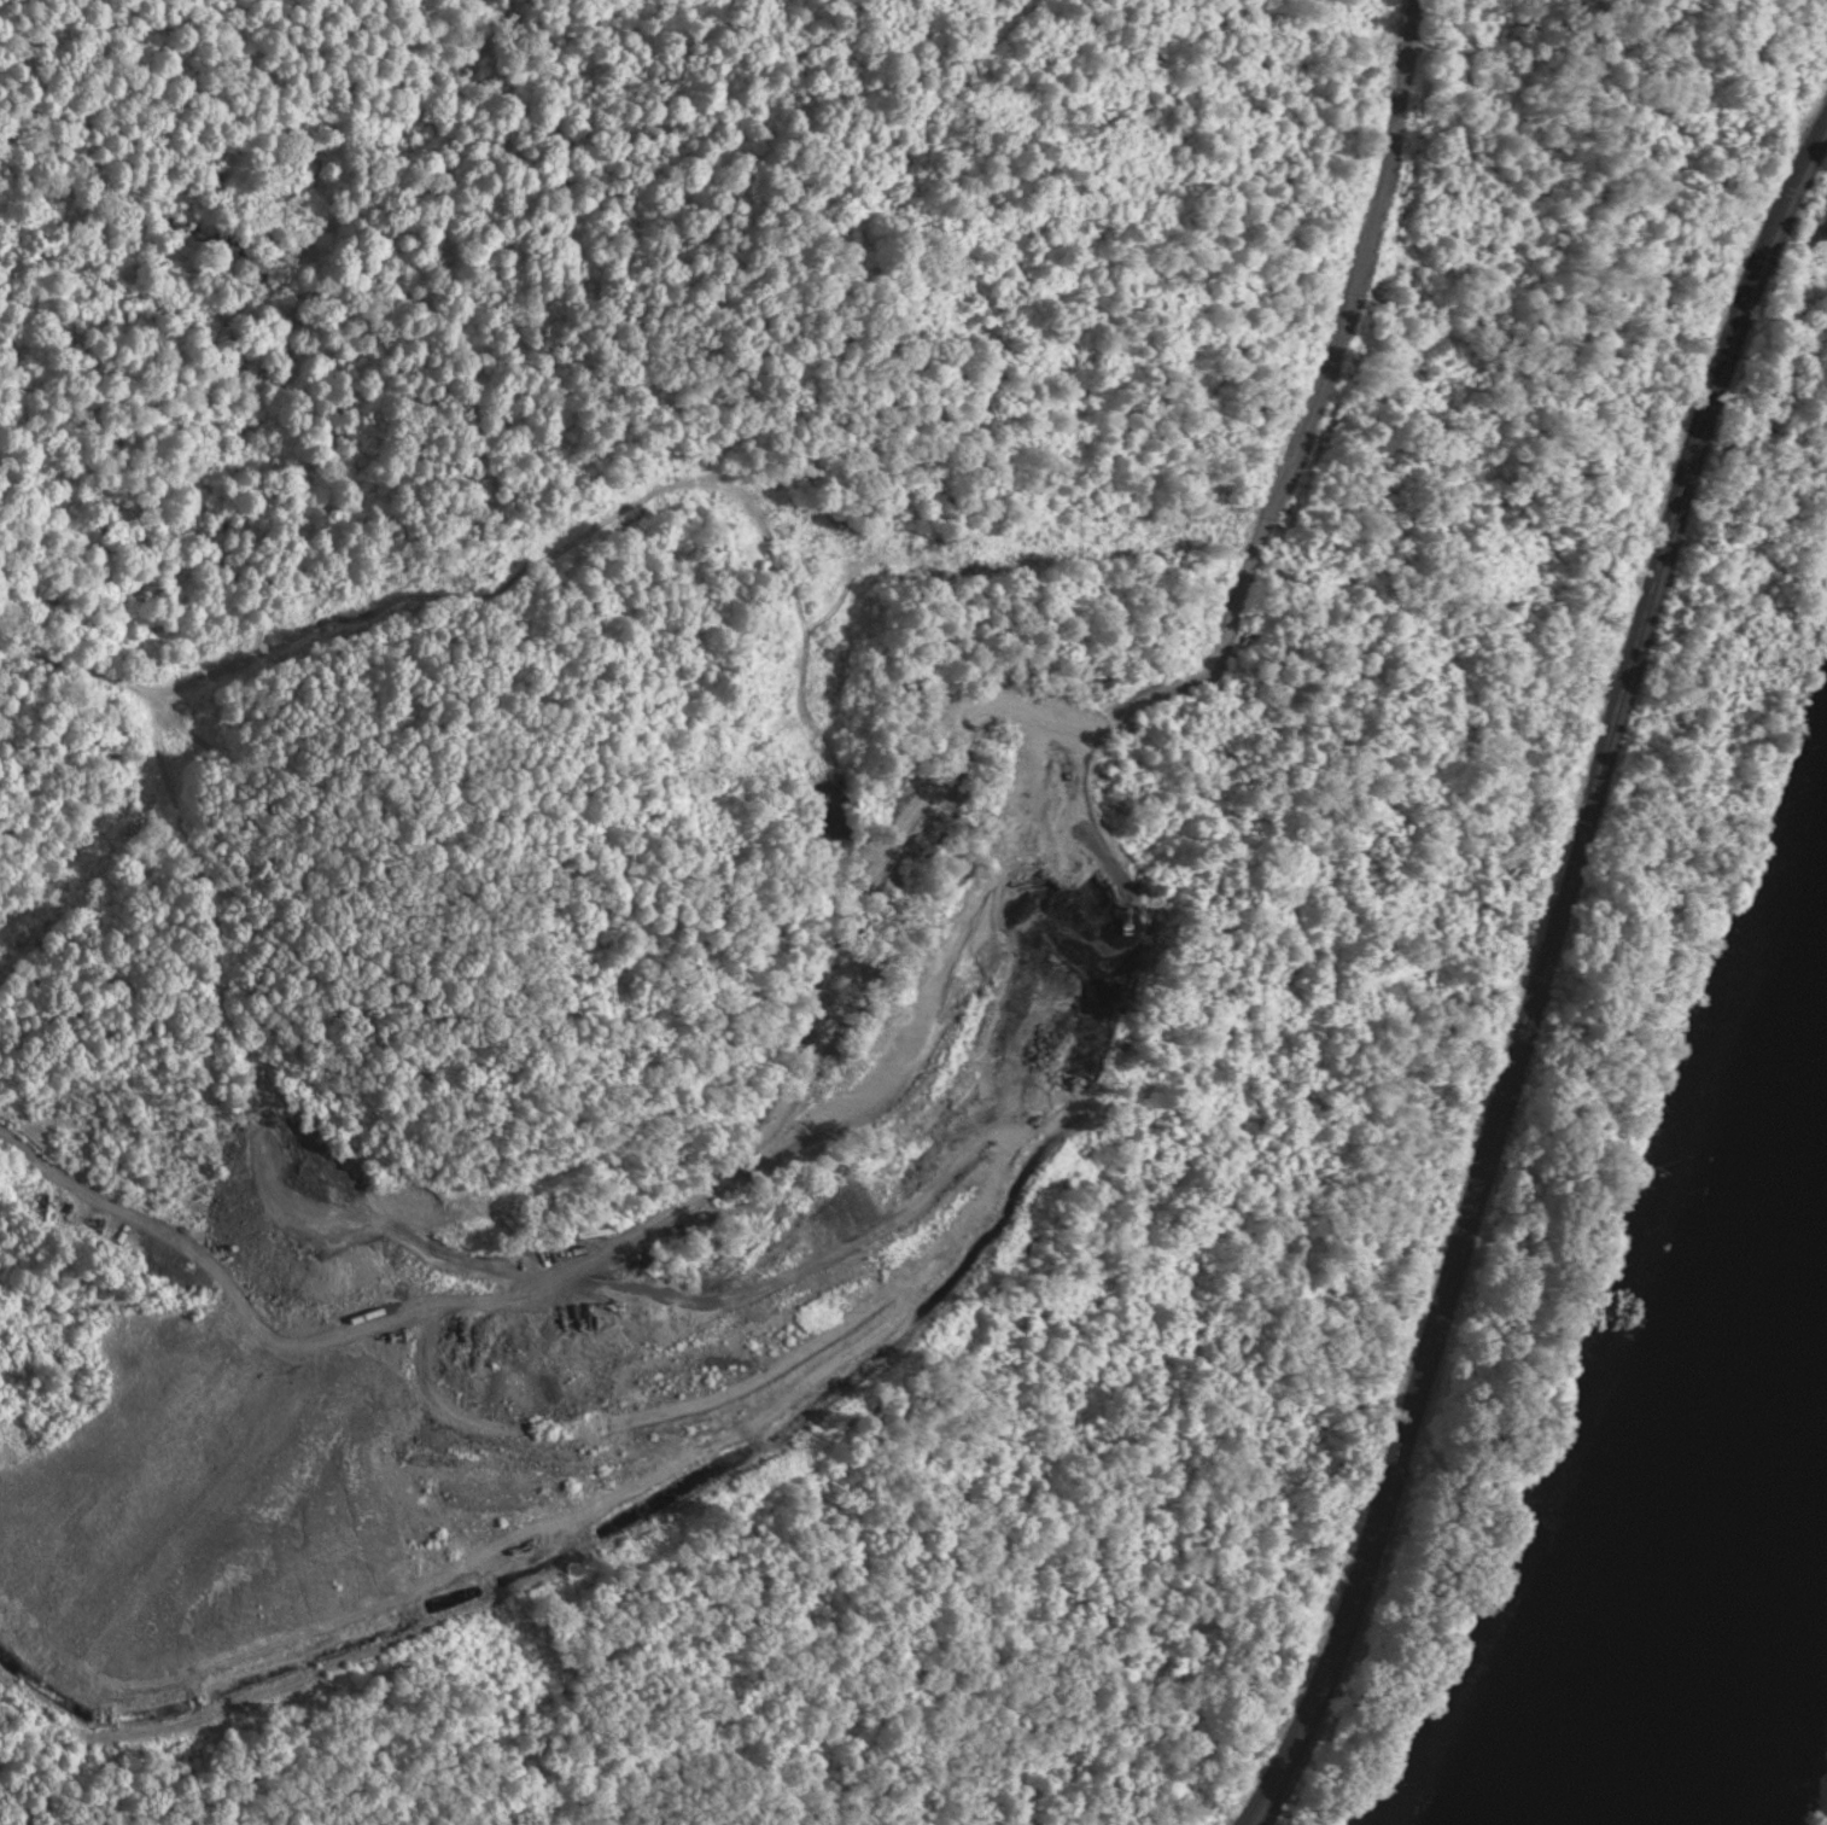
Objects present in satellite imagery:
road: (1414, 0)
railway: (1540, 979)
road: (958, 1101)
river: (1726, 1538)

